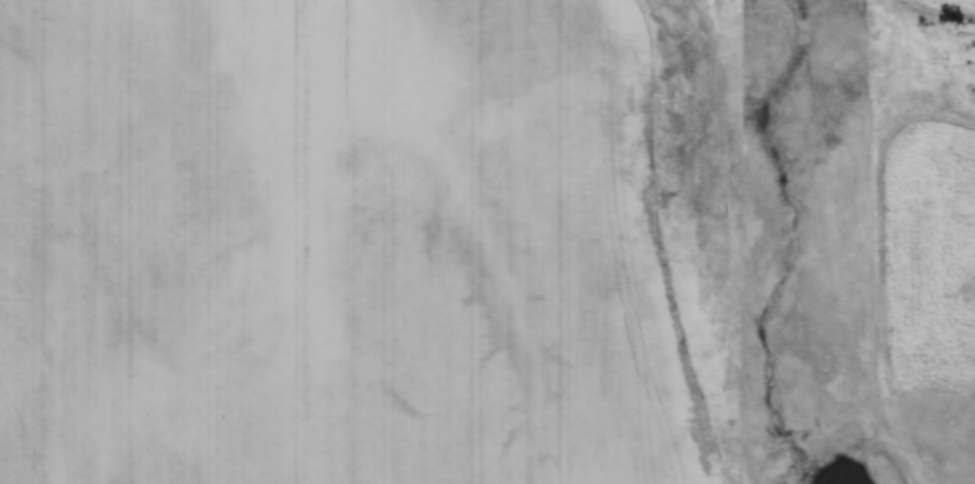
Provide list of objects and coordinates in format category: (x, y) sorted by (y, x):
road: (895, 235)

